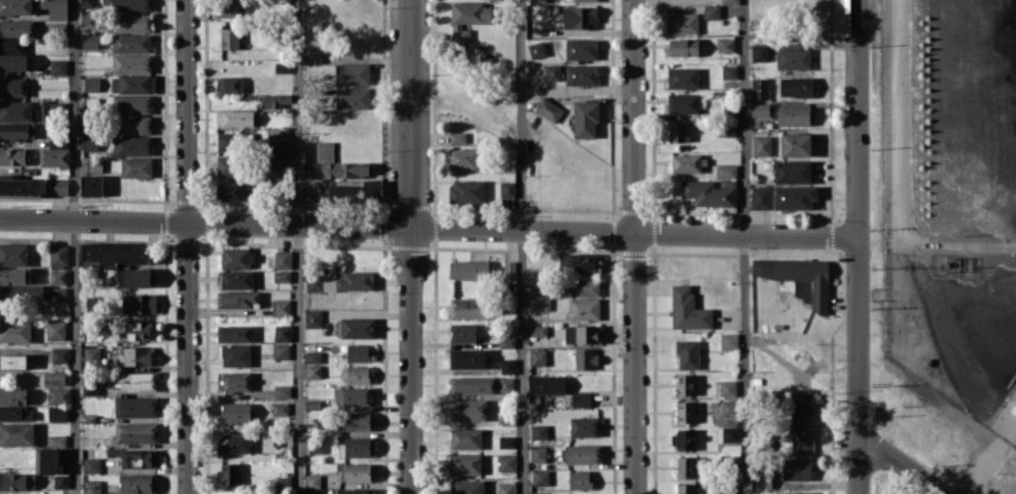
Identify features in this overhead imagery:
building: (537, 0)
building: (585, 0)
building: (730, 1)
building: (86, 4)
building: (127, 5)
building: (16, 7)
building: (230, 7)
building: (56, 8)
building: (711, 11)
building: (579, 17)
building: (468, 18)
building: (131, 22)
building: (682, 23)
building: (58, 27)
building: (16, 28)
building: (229, 38)
building: (90, 41)
building: (131, 43)
building: (11, 44)
building: (726, 44)
building: (684, 47)
building: (537, 49)
building: (581, 49)
building: (759, 52)
building: (314, 54)
building: (793, 58)
building: (13, 61)
building: (131, 63)
building: (58, 67)
building: (729, 71)
building: (553, 72)
building: (352, 73)
building: (581, 74)
building: (683, 77)
building: (136, 83)
building: (91, 84)
building: (229, 84)
building: (12, 86)
building: (796, 86)
building: (760, 88)
building: (352, 98)
building: (276, 100)
building: (683, 103)
building: (132, 104)
building: (53, 108)
building: (549, 109)
building: (760, 109)
building: (15, 111)
building: (731, 111)
road: (411, 112)
building: (794, 115)
building: (235, 118)
building: (585, 119)
building: (135, 124)
building: (17, 130)
building: (677, 131)
building: (457, 137)
building: (234, 140)
building: (57, 141)
building: (277, 142)
building: (90, 143)
building: (796, 144)
building: (132, 145)
building: (762, 145)
building: (12, 156)
building: (54, 157)
building: (464, 158)
building: (278, 162)
building: (688, 163)
building: (333, 165)
building: (227, 166)
building: (136, 167)
building: (726, 171)
building: (793, 171)
road: (898, 178)
building: (91, 185)
building: (59, 186)
building: (23, 187)
building: (229, 191)
building: (357, 191)
building: (466, 191)
building: (711, 192)
building: (761, 197)
building: (794, 197)
road: (856, 219)
road: (206, 220)
road: (634, 230)
road: (75, 246)
road: (187, 246)
road: (635, 246)
road: (299, 247)
road: (521, 247)
road: (746, 247)
building: (13, 253)
building: (116, 253)
building: (59, 254)
building: (236, 257)
building: (283, 259)
building: (578, 262)
building: (469, 269)
building: (509, 270)
building: (15, 275)
building: (282, 276)
building: (58, 277)
building: (137, 277)
building: (799, 278)
building: (237, 279)
building: (339, 281)
building: (538, 288)
building: (578, 288)
building: (21, 293)
building: (58, 294)
building: (236, 298)
building: (139, 303)
building: (92, 304)
building: (540, 304)
building: (281, 307)
building: (468, 307)
building: (584, 308)
building: (688, 309)
building: (313, 318)
building: (355, 327)
building: (55, 330)
building: (138, 330)
building: (538, 330)
building: (15, 331)
building: (282, 332)
building: (462, 332)
building: (234, 333)
building: (581, 334)
building: (729, 341)
building: (508, 342)
building: (281, 351)
building: (357, 352)
building: (687, 354)
building: (60, 355)
building: (235, 355)
building: (92, 356)
building: (137, 356)
building: (537, 357)
building: (469, 358)
building: (585, 358)
road: (412, 359)
building: (13, 361)
building: (314, 364)
building: (507, 366)
building: (356, 374)
building: (54, 377)
building: (137, 381)
building: (236, 381)
building: (546, 384)
building: (685, 384)
building: (472, 385)
building: (90, 387)
building: (728, 388)
building: (282, 391)
building: (58, 395)
building: (13, 396)
building: (352, 396)
building: (580, 399)
building: (801, 404)
building: (136, 406)
building: (729, 407)
building: (280, 408)
building: (468, 409)
building: (685, 411)
building: (236, 412)
building: (16, 413)
building: (57, 413)
building: (358, 421)
building: (584, 426)
building: (136, 432)
building: (538, 432)
building: (16, 433)
building: (729, 434)
building: (465, 438)
building: (801, 438)
building: (56, 440)
building: (683, 440)
building: (236, 442)
building: (506, 442)
building: (315, 445)
building: (356, 447)
building: (583, 453)
building: (538, 454)
building: (138, 458)
building: (506, 462)
building: (465, 464)
building: (91, 465)
building: (52, 466)
building: (685, 466)
road: (856, 466)
road: (895, 466)
building: (796, 468)
building: (356, 472)
building: (228, 473)
building: (540, 477)
building: (579, 479)
building: (762, 480)
building: (17, 481)
building: (312, 481)
building: (138, 483)
building: (92, 486)
building: (466, 486)
building: (505, 487)
building: (685, 488)
building: (352, 491)
building: (727, 491)
building: (794, 492)
building: (237, 493)
building: (539, 493)
building: (581, 493)

